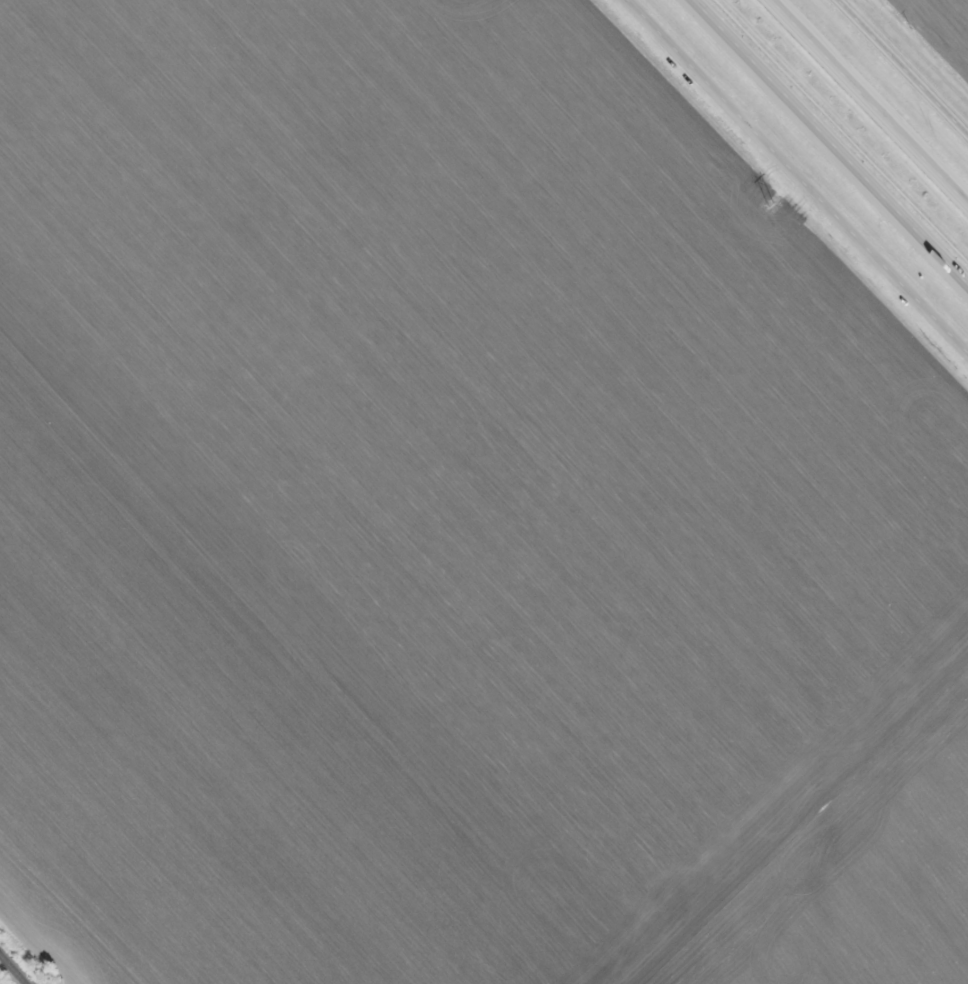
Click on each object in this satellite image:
road: (905, 65)
road: (871, 100)
road: (830, 142)
road: (796, 178)
power tower: (770, 203)
railway: (10, 971)

